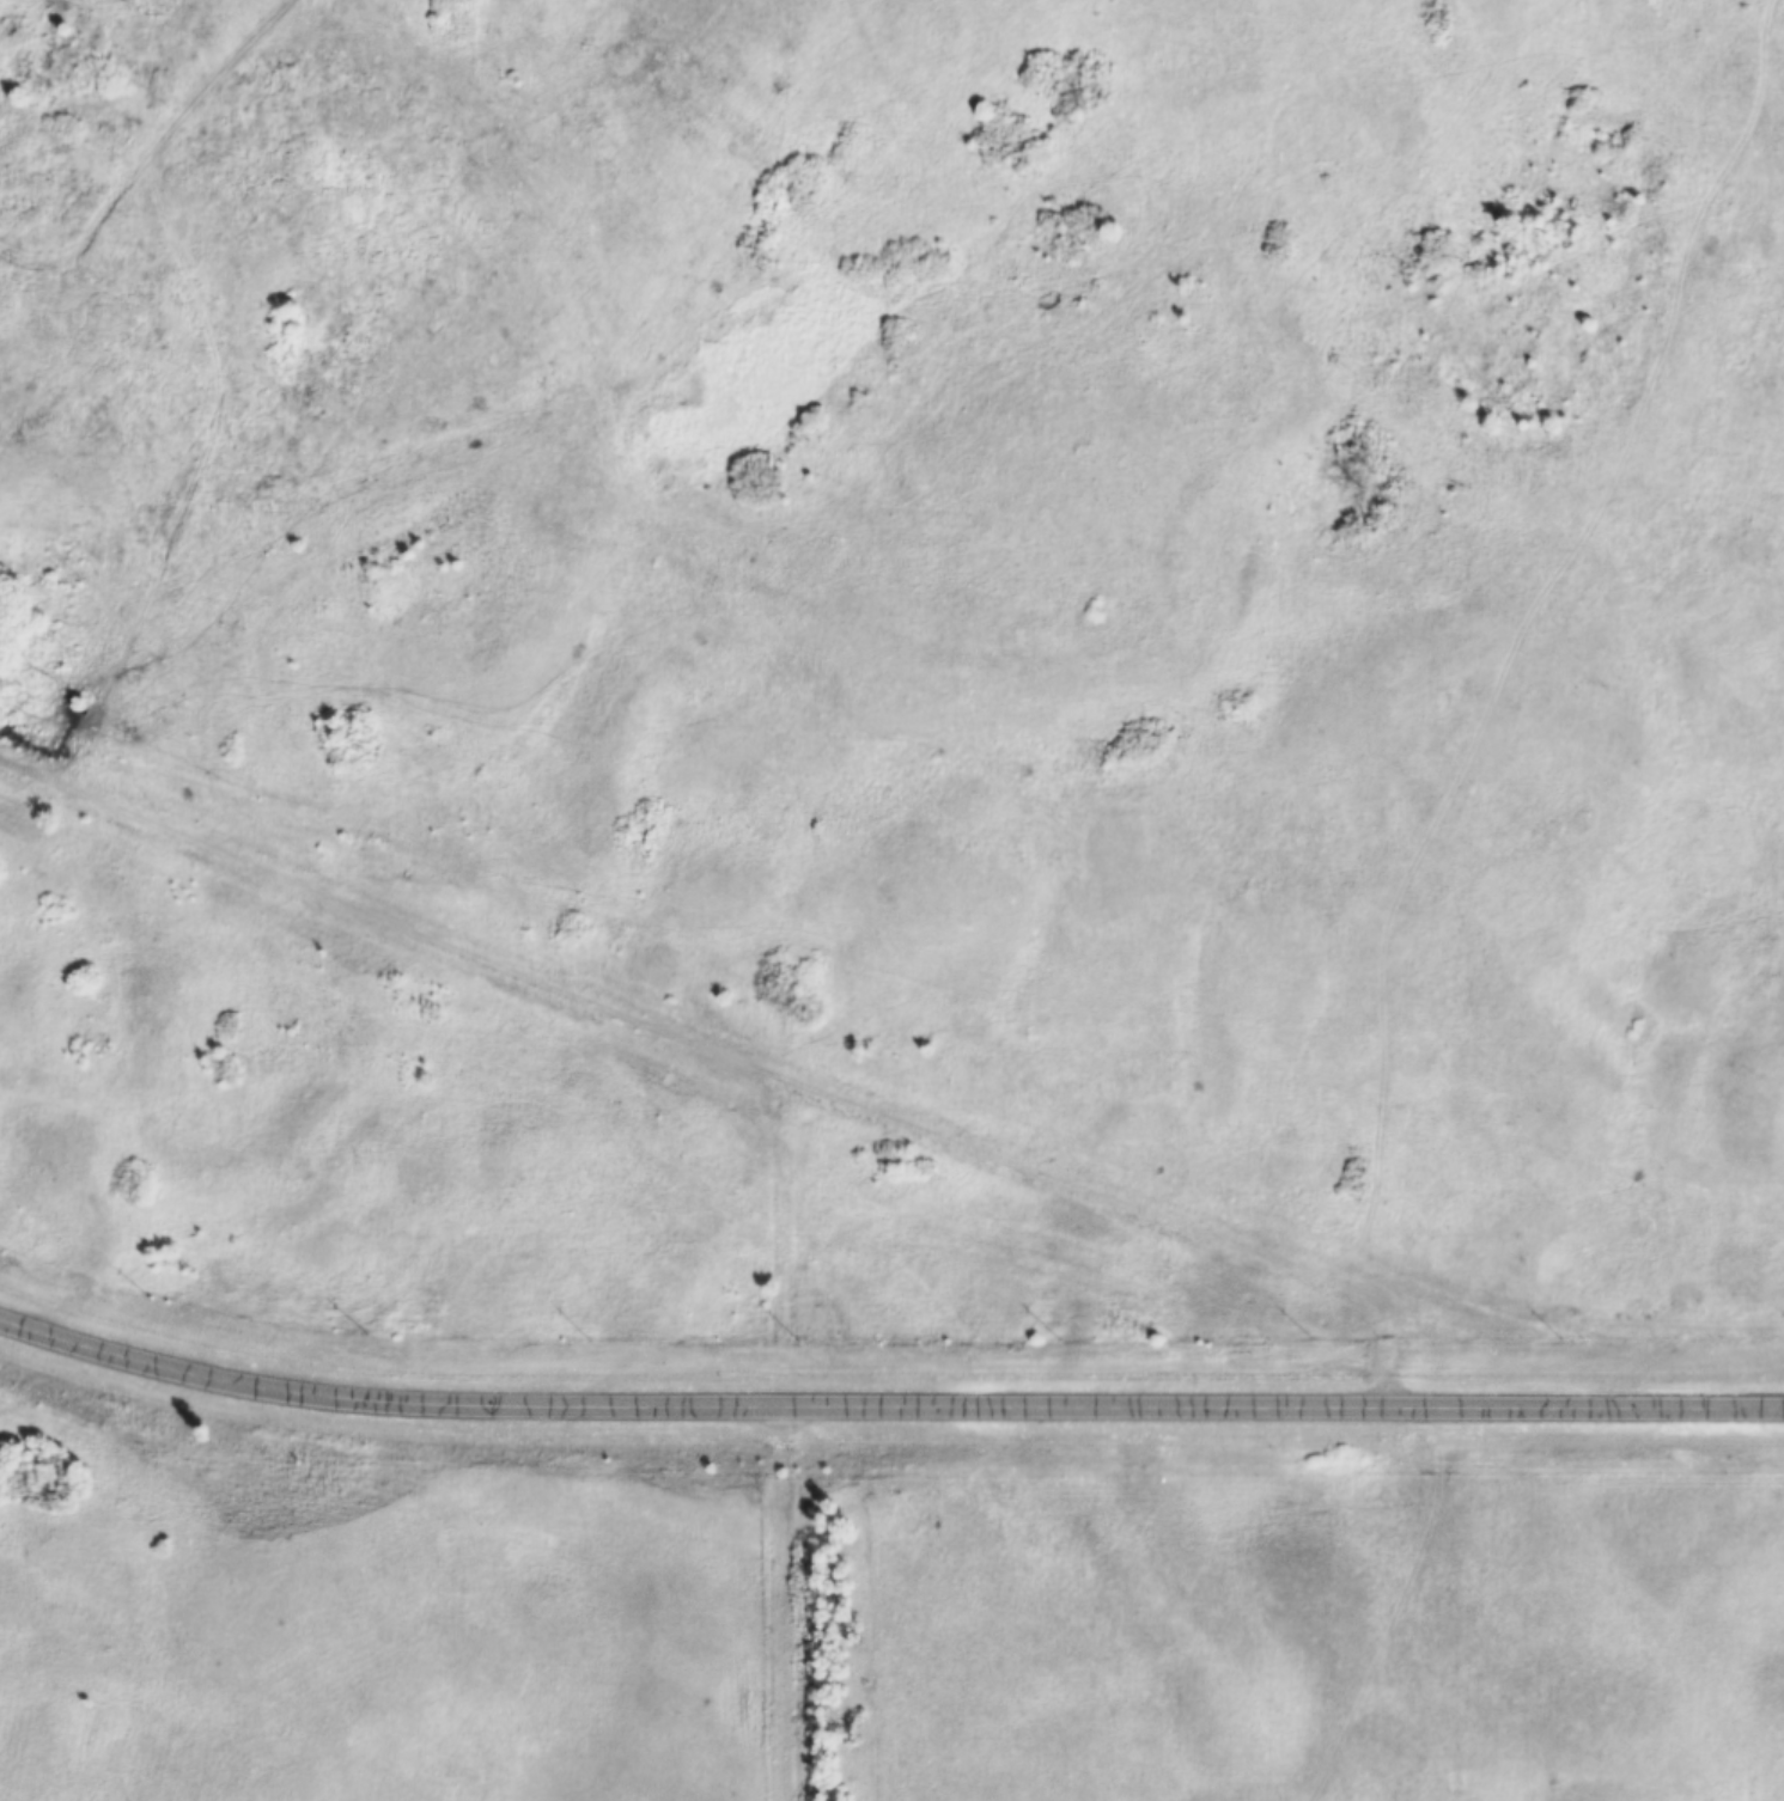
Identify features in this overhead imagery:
road: (391, 1400)
road: (1287, 1402)
road: (793, 1600)

